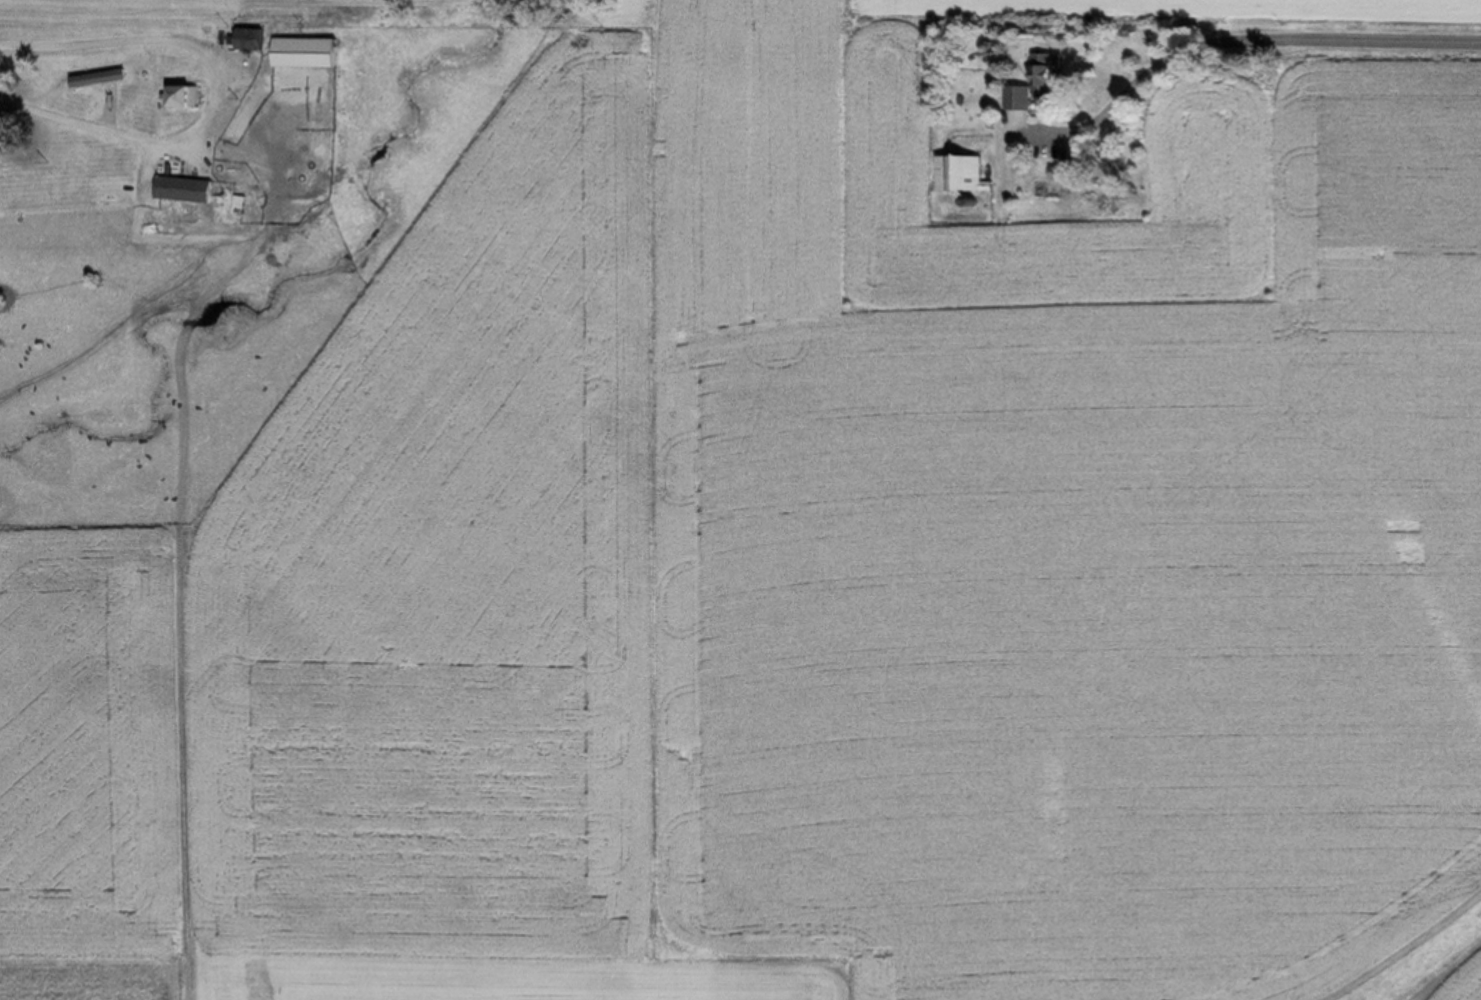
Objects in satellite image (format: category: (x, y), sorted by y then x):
building: (300, 54)
road: (73, 67)
road: (1240, 67)
building: (93, 80)
building: (1032, 83)
building: (177, 99)
building: (958, 175)
building: (179, 191)
building: (1044, 191)

